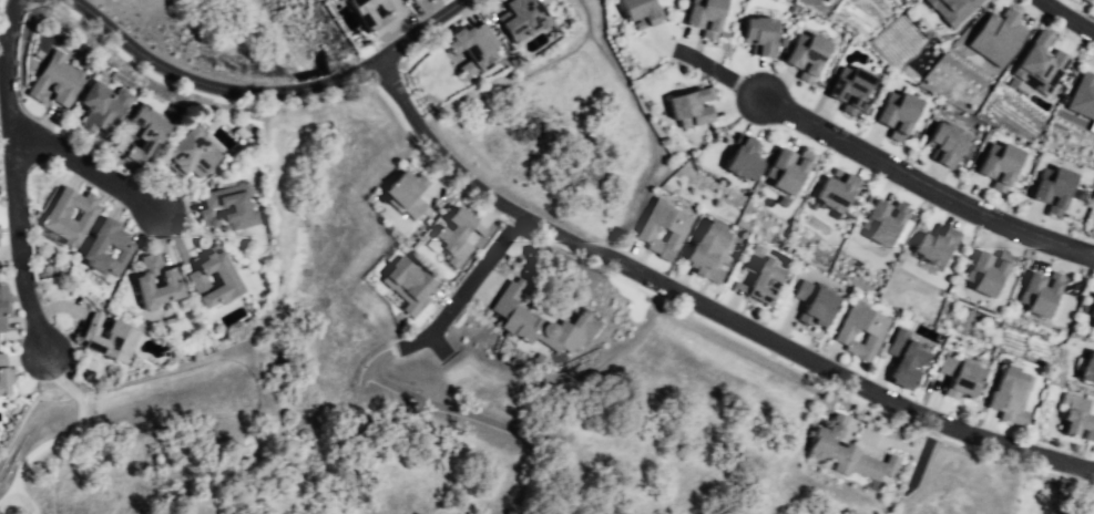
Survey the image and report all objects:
building: (412, 0)
building: (417, 0)
building: (428, 0)
building: (1091, 0)
building: (433, 1)
building: (951, 9)
building: (643, 14)
building: (707, 14)
road: (1067, 18)
building: (372, 19)
building: (526, 21)
building: (763, 34)
park: (238, 35)
building: (996, 37)
building: (477, 50)
building: (812, 53)
building: (1039, 63)
road: (710, 68)
building: (62, 79)
building: (856, 85)
road: (265, 92)
building: (1082, 96)
building: (106, 106)
building: (694, 110)
building: (903, 112)
building: (149, 140)
building: (947, 150)
building: (195, 155)
building: (747, 160)
road: (85, 172)
building: (788, 173)
building: (1005, 173)
road: (14, 179)
building: (838, 192)
road: (922, 194)
building: (1056, 194)
building: (406, 196)
building: (235, 210)
building: (60, 215)
building: (887, 224)
building: (666, 229)
building: (1, 234)
building: (456, 239)
building: (96, 248)
building: (939, 248)
building: (710, 251)
building: (763, 276)
building: (988, 276)
building: (175, 285)
building: (232, 285)
building: (408, 289)
building: (1043, 296)
building: (816, 305)
road: (707, 308)
building: (4, 310)
building: (1093, 323)
building: (539, 325)
building: (865, 330)
building: (114, 340)
building: (909, 360)
road: (387, 361)
building: (1090, 371)
building: (962, 378)
building: (7, 380)
building: (1012, 395)
building: (1077, 418)
road: (62, 439)
building: (849, 459)
road: (1070, 490)

